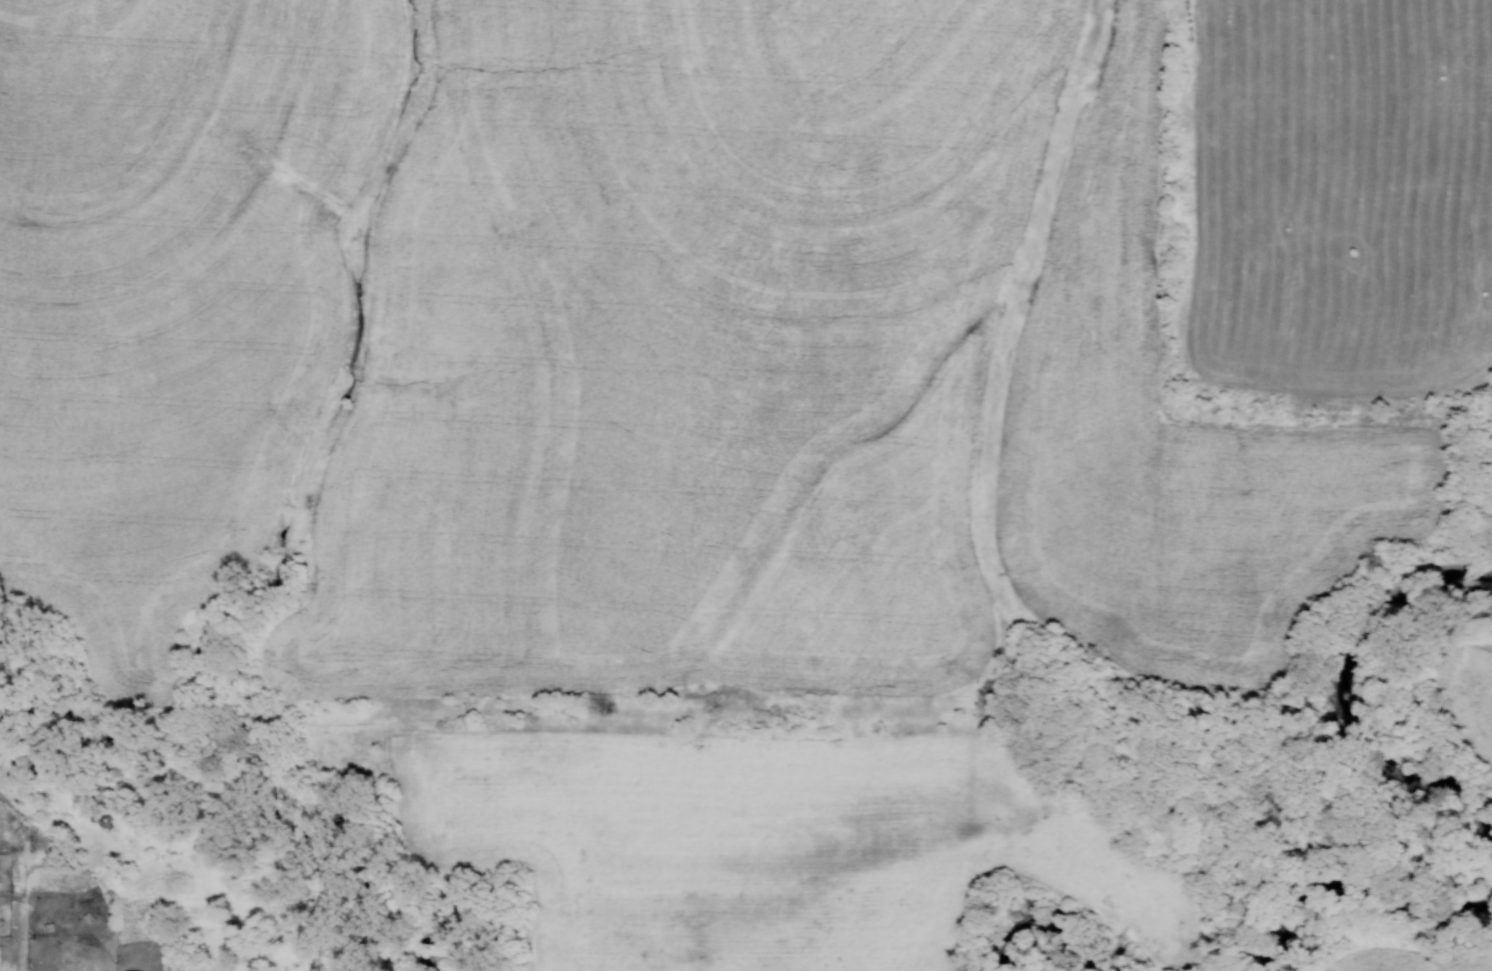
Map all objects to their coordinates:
building: (133, 969)

